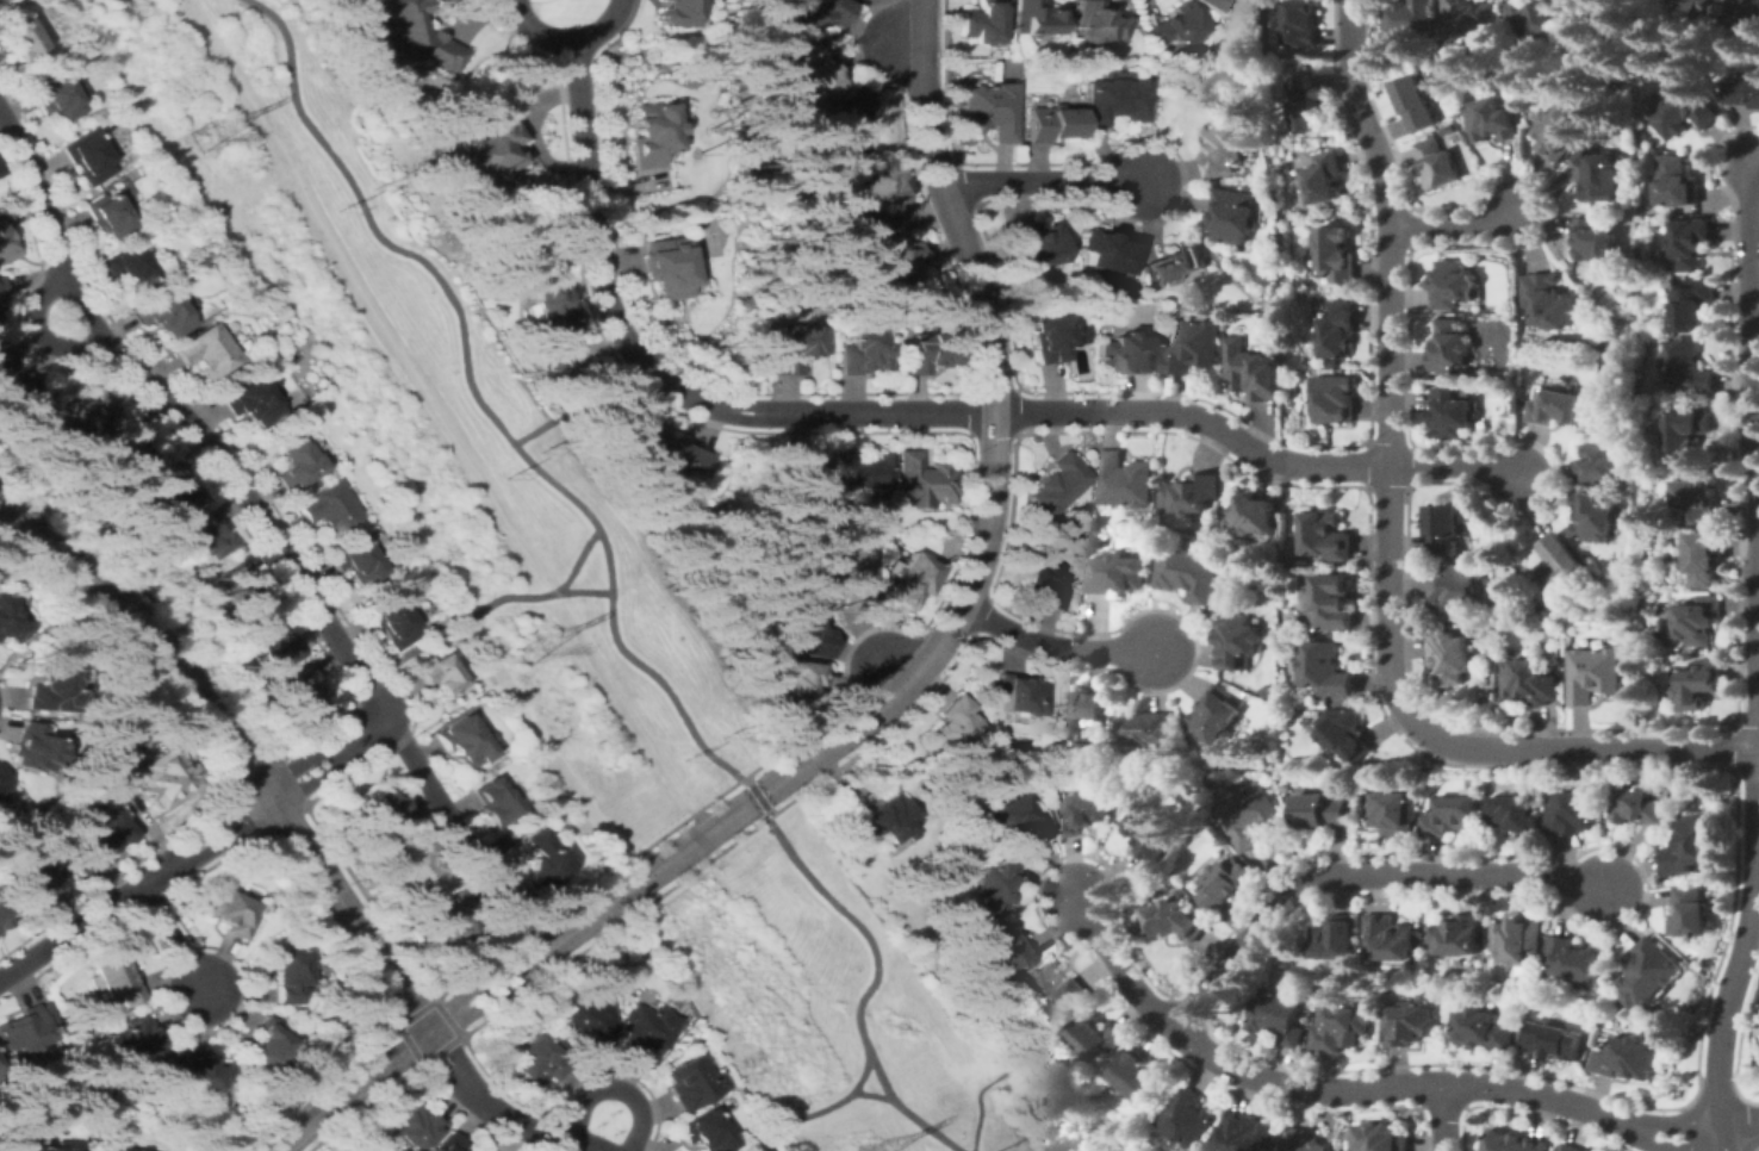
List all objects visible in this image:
building: (1578, 4)
building: (1216, 6)
building: (1696, 6)
building: (1746, 10)
building: (671, 11)
building: (813, 14)
building: (1468, 15)
building: (1033, 18)
building: (1411, 18)
building: (1528, 18)
building: (983, 21)
building: (1098, 23)
building: (1299, 23)
building: (1175, 26)
building: (17, 35)
building: (408, 36)
road: (561, 42)
road: (905, 44)
building: (1287, 55)
park: (784, 64)
building: (815, 74)
building: (1742, 92)
building: (57, 98)
building: (1115, 101)
building: (1304, 104)
building: (1417, 104)
building: (1684, 110)
building: (989, 111)
building: (1493, 120)
building: (850, 123)
building: (1052, 124)
building: (648, 132)
building: (1558, 132)
power tower: (201, 137)
building: (483, 151)
building: (1224, 151)
building: (87, 156)
building: (1438, 164)
road: (1757, 166)
building: (1597, 174)
building: (1323, 179)
building: (1676, 182)
road: (1040, 183)
power tower: (374, 185)
building: (876, 197)
power tower: (337, 209)
building: (107, 216)
building: (1236, 216)
road: (1459, 225)
park: (708, 239)
building: (6, 241)
building: (1592, 241)
building: (1689, 243)
building: (1033, 245)
building: (1102, 251)
building: (1332, 255)
building: (890, 262)
building: (1177, 263)
building: (128, 266)
building: (667, 267)
building: (1452, 285)
building: (1, 287)
building: (1548, 301)
building: (1691, 305)
building: (0, 306)
building: (1171, 307)
building: (164, 312)
building: (548, 321)
road: (32, 330)
building: (1336, 331)
building: (1049, 334)
building: (1191, 347)
building: (1449, 347)
building: (795, 348)
building: (207, 350)
building: (862, 351)
building: (930, 351)
building: (1126, 354)
building: (5, 359)
road: (1392, 368)
building: (1687, 368)
road: (990, 369)
building: (1253, 371)
road: (652, 372)
road: (427, 391)
building: (20, 399)
building: (1334, 399)
building: (1488, 399)
building: (251, 400)
road: (479, 400)
road: (578, 403)
building: (1556, 406)
building: (92, 409)
park: (425, 409)
road: (182, 415)
road: (1197, 415)
building: (1452, 415)
road: (1754, 423)
building: (1685, 430)
building: (124, 446)
power tower: (541, 447)
building: (666, 454)
building: (298, 462)
building: (1600, 462)
road: (1456, 467)
power tower: (505, 473)
building: (860, 473)
building: (794, 474)
building: (1125, 480)
building: (924, 481)
building: (1057, 484)
building: (174, 487)
building: (1193, 493)
building: (1697, 494)
building: (330, 506)
building: (1256, 516)
building: (1595, 517)
building: (1446, 527)
building: (207, 534)
building: (1328, 536)
road: (577, 558)
building: (1702, 559)
building: (356, 560)
building: (1562, 566)
building: (1192, 573)
building: (1118, 574)
building: (847, 577)
building: (910, 580)
building: (1045, 585)
building: (237, 589)
building: (1460, 589)
road: (584, 590)
building: (1334, 603)
building: (394, 618)
building: (1697, 620)
building: (10, 621)
road: (458, 623)
building: (807, 632)
building: (1241, 642)
building: (273, 645)
power tower: (526, 647)
road: (1055, 647)
road: (869, 653)
building: (1452, 658)
building: (1329, 668)
building: (441, 674)
building: (1596, 674)
building: (800, 679)
building: (1530, 683)
building: (1697, 685)
building: (55, 686)
building: (1019, 695)
building: (306, 696)
road: (639, 696)
building: (1080, 705)
building: (1219, 715)
road: (841, 721)
building: (957, 726)
building: (1148, 729)
power tower: (722, 734)
building: (1345, 734)
road: (853, 738)
building: (461, 741)
building: (130, 746)
building: (33, 748)
road: (236, 748)
road: (1591, 749)
power tower: (684, 759)
building: (155, 777)
road: (422, 777)
building: (1, 783)
road: (675, 785)
road: (756, 795)
building: (495, 801)
building: (384, 805)
building: (1639, 805)
building: (1319, 810)
building: (1083, 813)
building: (1391, 814)
building: (1571, 814)
building: (1250, 815)
building: (1515, 815)
building: (1450, 816)
building: (1017, 820)
building: (891, 822)
building: (1150, 833)
building: (98, 841)
building: (44, 844)
building: (1690, 846)
road: (193, 851)
road: (671, 856)
building: (543, 860)
building: (421, 872)
road: (1360, 875)
building: (37, 881)
building: (1226, 883)
building: (994, 885)
road: (788, 910)
building: (229, 912)
building: (1690, 912)
building: (452, 916)
building: (2, 920)
building: (1173, 920)
building: (1456, 935)
building: (1390, 938)
building: (1335, 939)
road: (172, 940)
building: (1518, 940)
building: (1005, 948)
building: (1575, 962)
building: (1648, 973)
building: (287, 975)
building: (116, 976)
road: (480, 981)
road: (869, 984)
building: (1049, 990)
road: (491, 996)
park: (812, 1003)
building: (1279, 1016)
road: (1726, 1016)
road: (440, 1021)
building: (1411, 1024)
building: (590, 1025)
building: (27, 1027)
building: (1342, 1028)
building: (1484, 1029)
building: (647, 1031)
building: (1096, 1039)
building: (137, 1041)
building: (1553, 1041)
building: (265, 1044)
road: (1027, 1052)
building: (1627, 1059)
building: (540, 1060)
building: (203, 1072)
building: (1137, 1075)
building: (692, 1082)
road: (348, 1088)
road: (1362, 1088)
road: (614, 1090)
road: (870, 1094)
road: (810, 1112)
road: (498, 1114)
building: (1189, 1118)
road: (1447, 1118)
road: (890, 1125)
building: (414, 1126)
road: (1741, 1130)
building: (704, 1132)
building: (1245, 1133)
building: (1381, 1138)
building: (1306, 1140)
building: (1515, 1141)
building: (68, 1143)
building: (447, 1144)
building: (1572, 1147)
building: (758, 1149)
building: (126, 1150)
building: (139, 1150)

